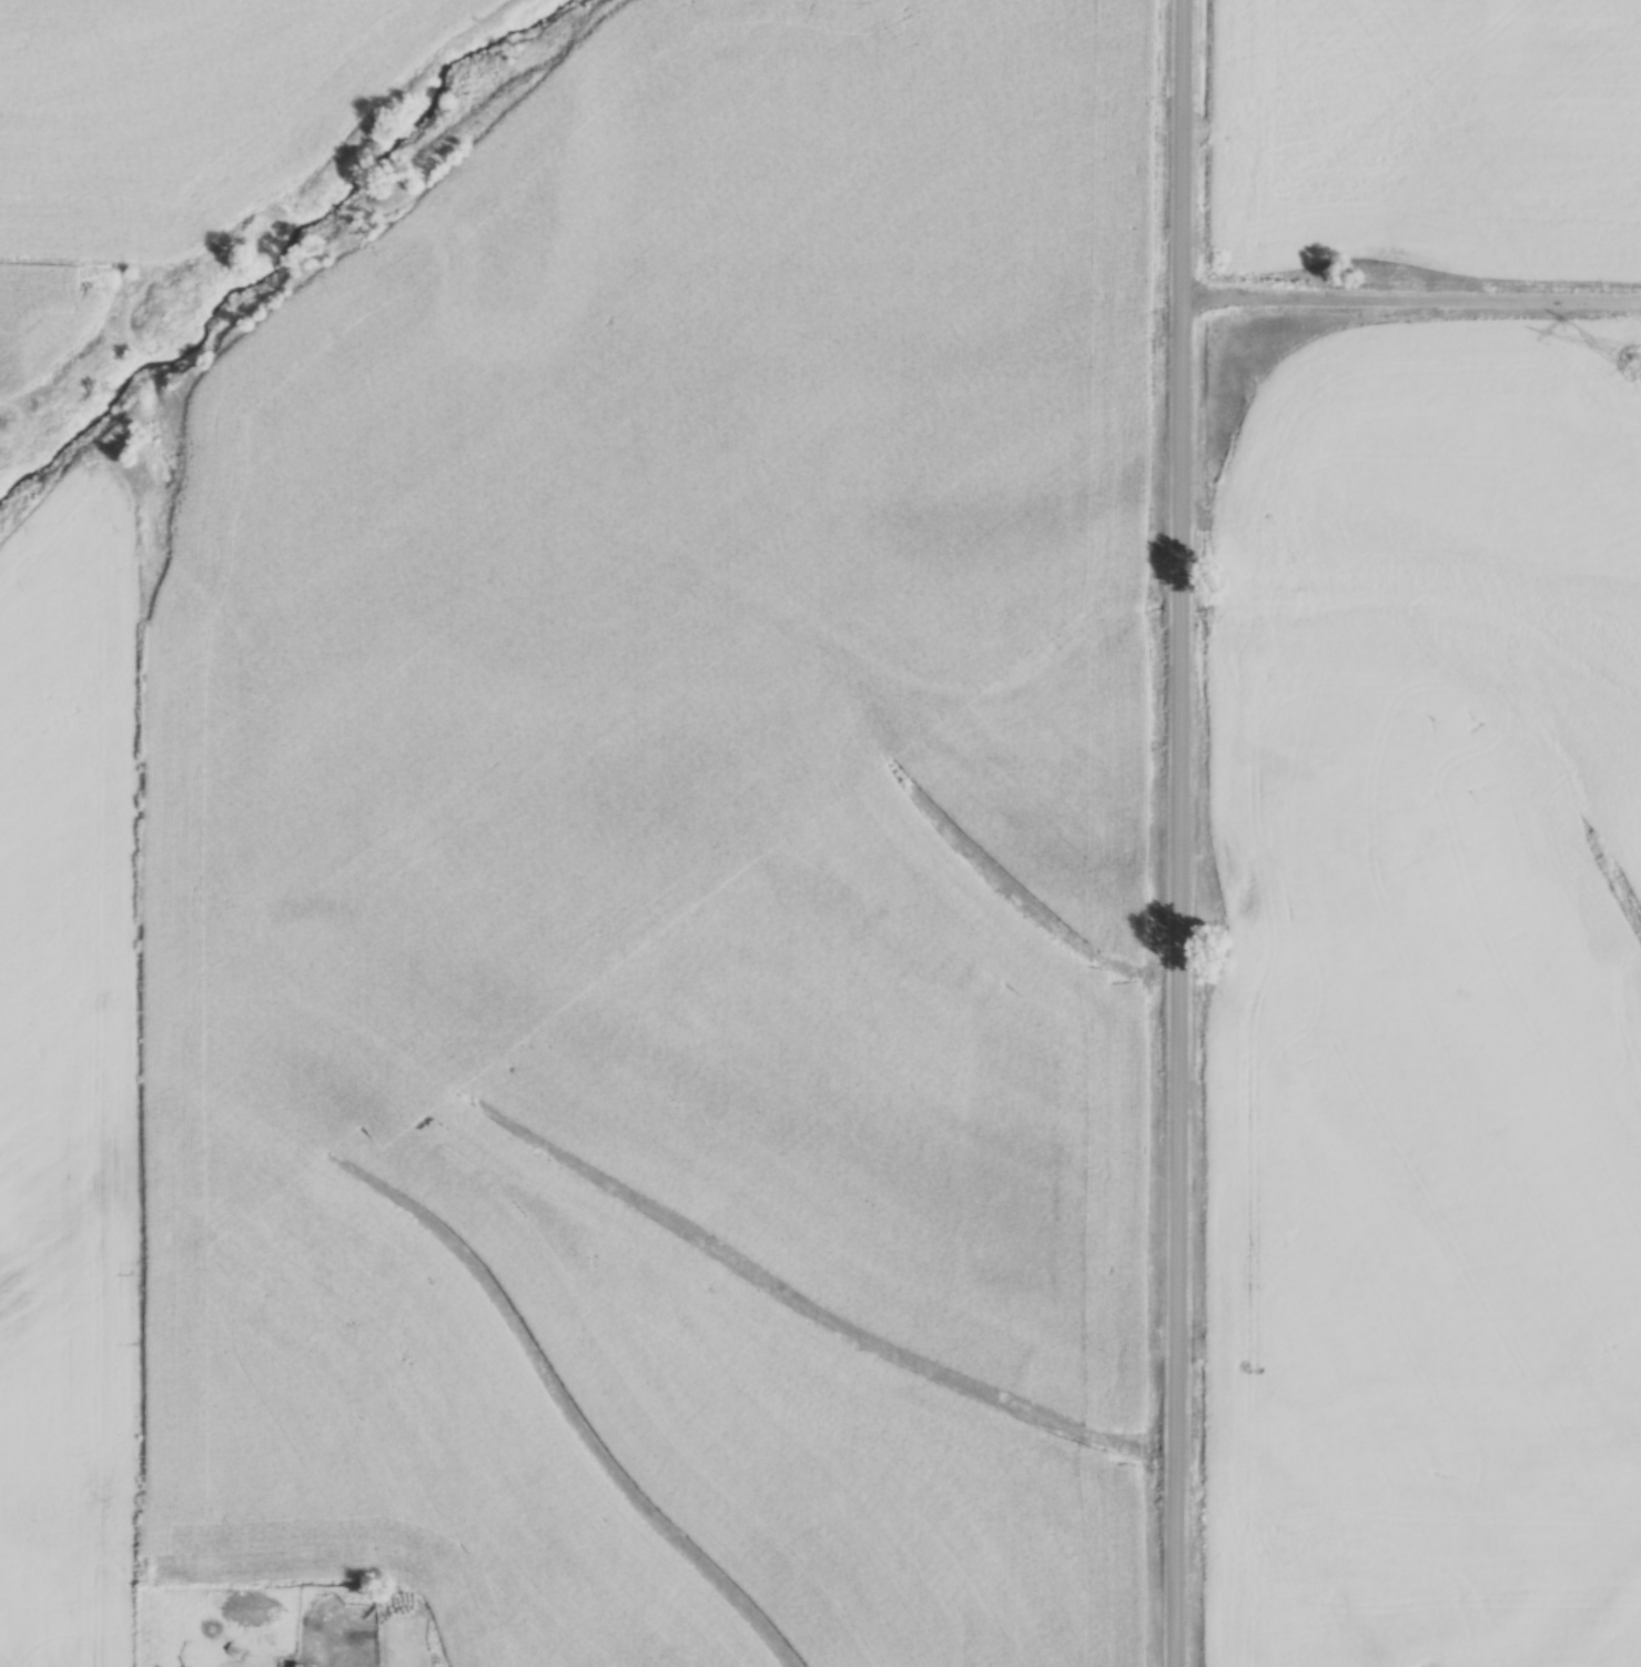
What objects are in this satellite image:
road: (1408, 297)
power tower: (1640, 368)
road: (1174, 832)

